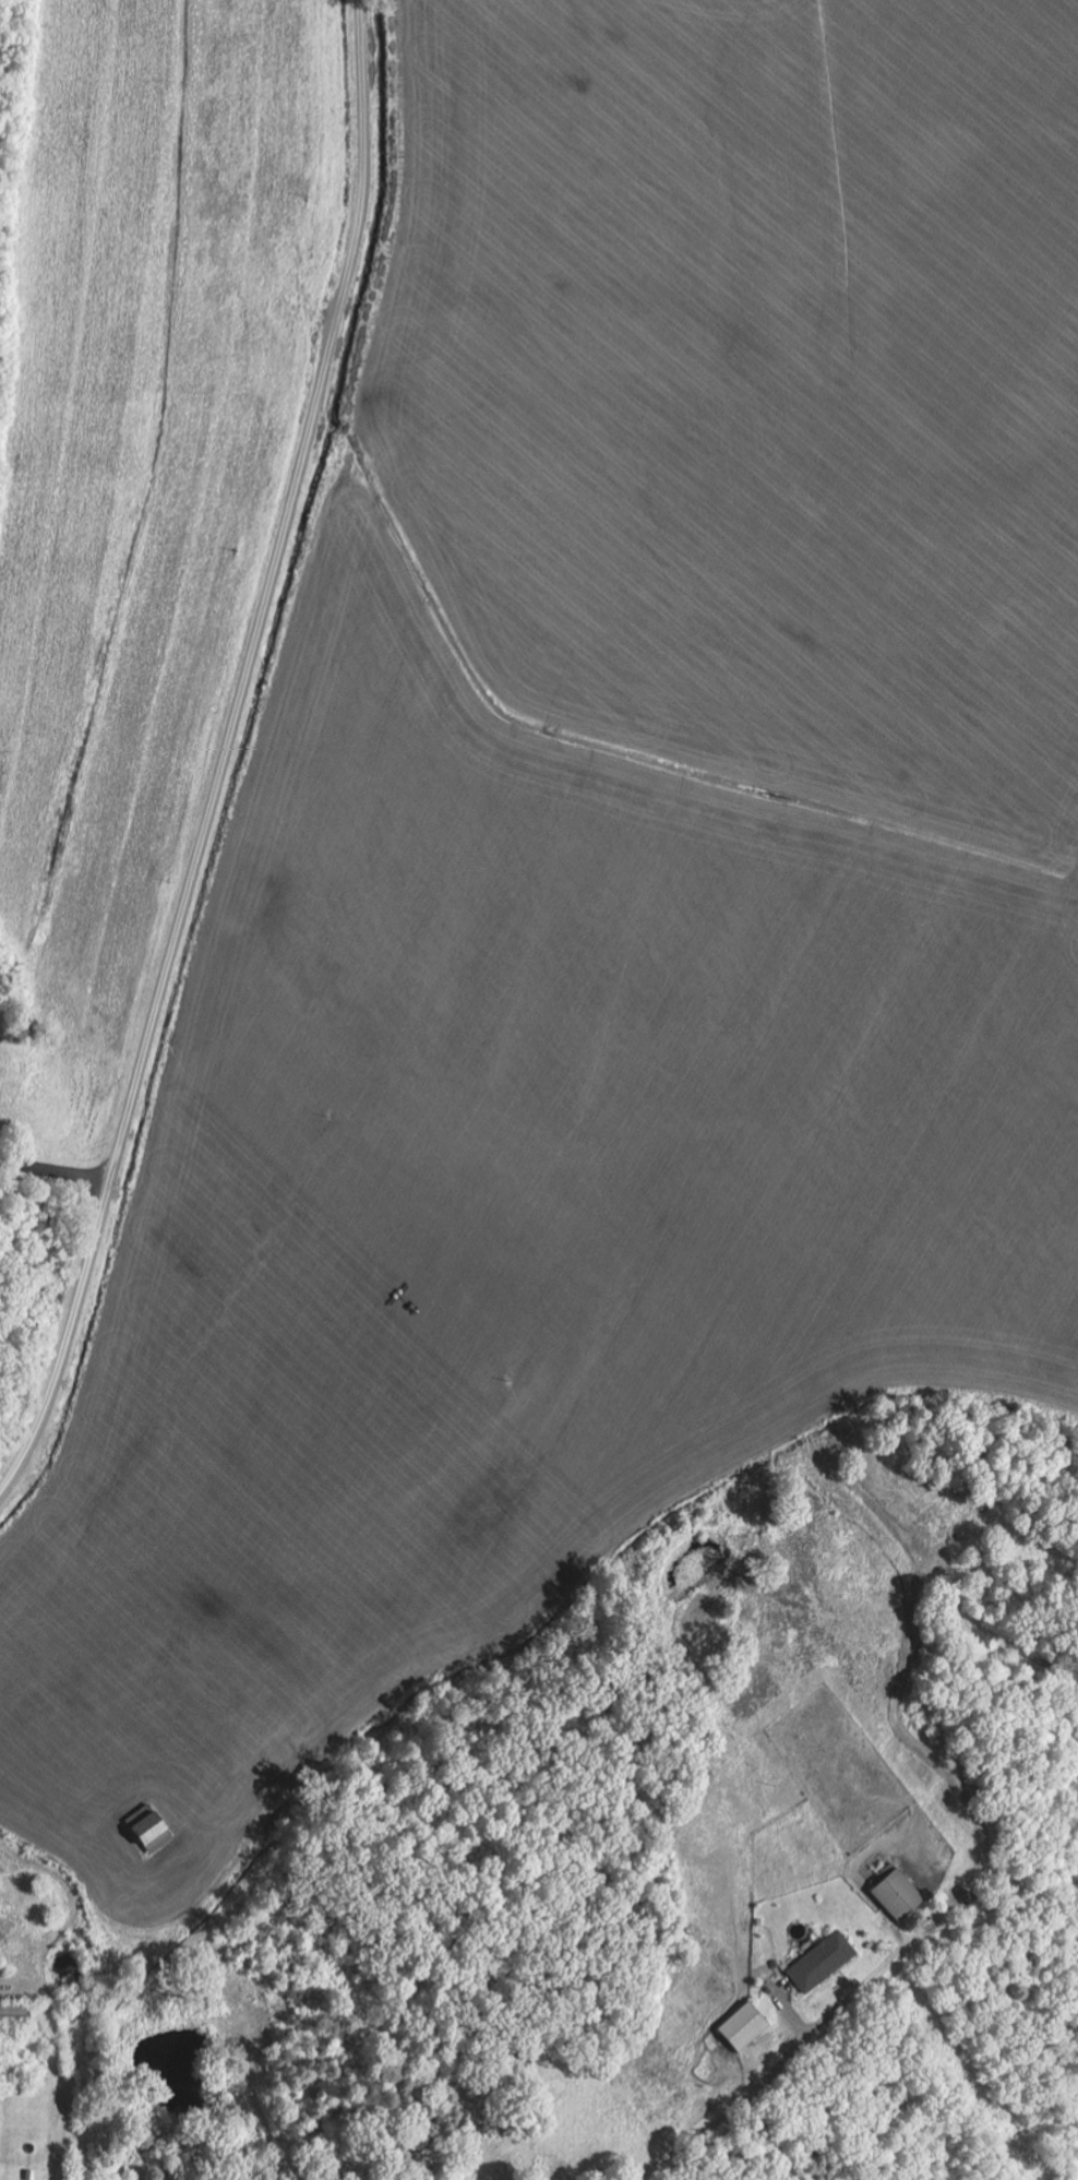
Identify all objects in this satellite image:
road: (225, 755)
road: (56, 1172)
building: (153, 1835)
building: (898, 1894)
building: (823, 1962)
building: (744, 2027)
road: (751, 2099)

